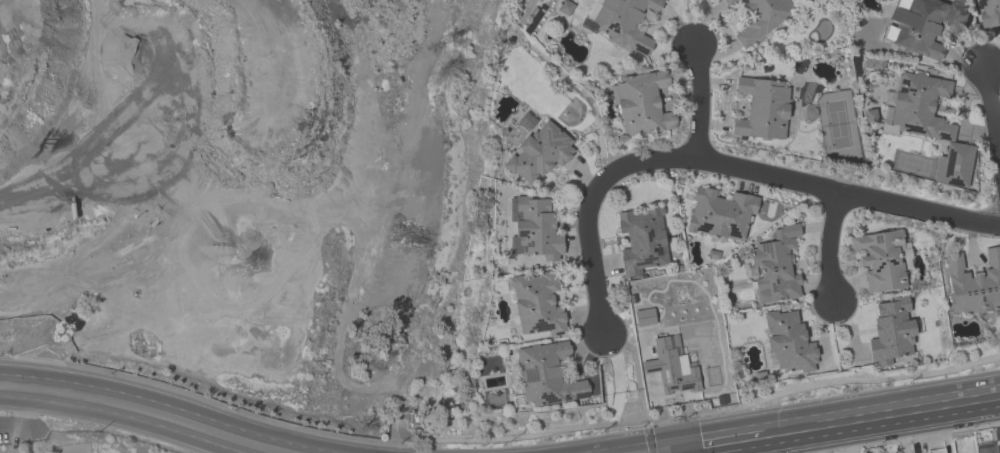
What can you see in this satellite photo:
building: (990, 12)
building: (760, 18)
building: (623, 24)
building: (923, 26)
road: (700, 101)
building: (642, 106)
building: (762, 110)
road: (991, 112)
building: (930, 125)
building: (540, 156)
road: (722, 162)
building: (719, 214)
building: (534, 229)
building: (642, 241)
road: (829, 247)
building: (881, 260)
building: (775, 267)
building: (973, 284)
building: (537, 304)
building: (892, 333)
building: (788, 342)
building: (673, 372)
building: (547, 375)
road: (167, 404)
road: (121, 416)
road: (875, 418)
road: (23, 425)
road: (711, 443)
road: (658, 445)
road: (615, 448)
traffic signals: (671, 448)
building: (990, 449)
road: (668, 450)
road: (671, 450)

